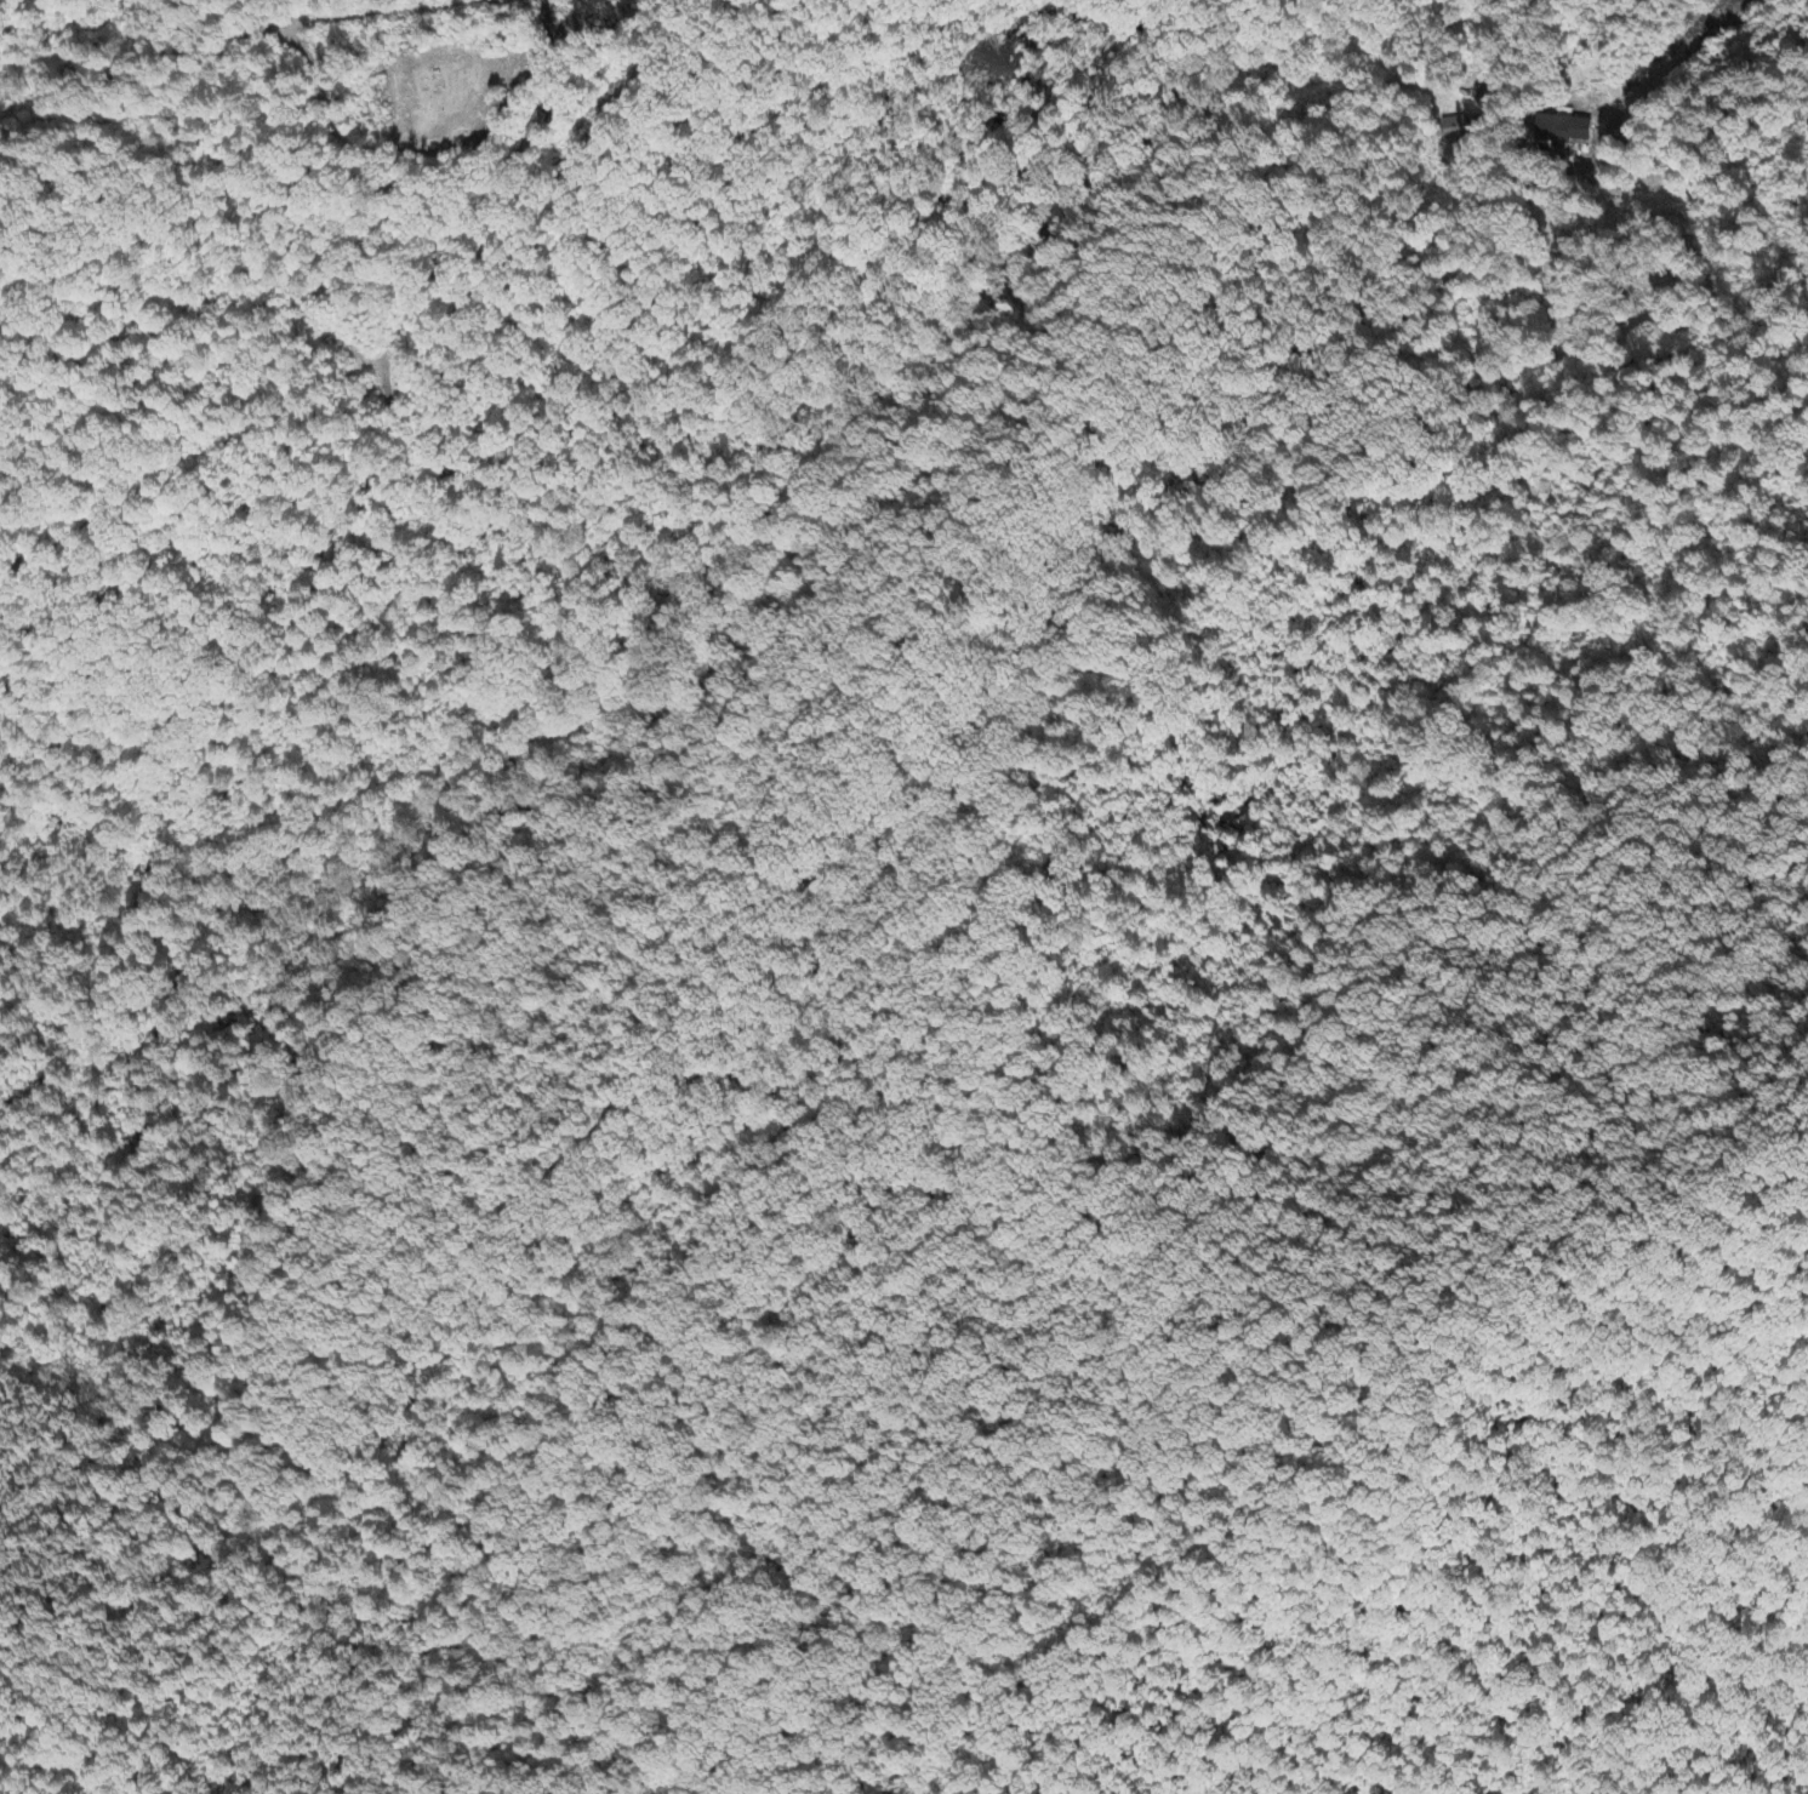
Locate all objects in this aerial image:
road: (536, 72)
park: (447, 95)
building: (1455, 127)
building: (1561, 130)

